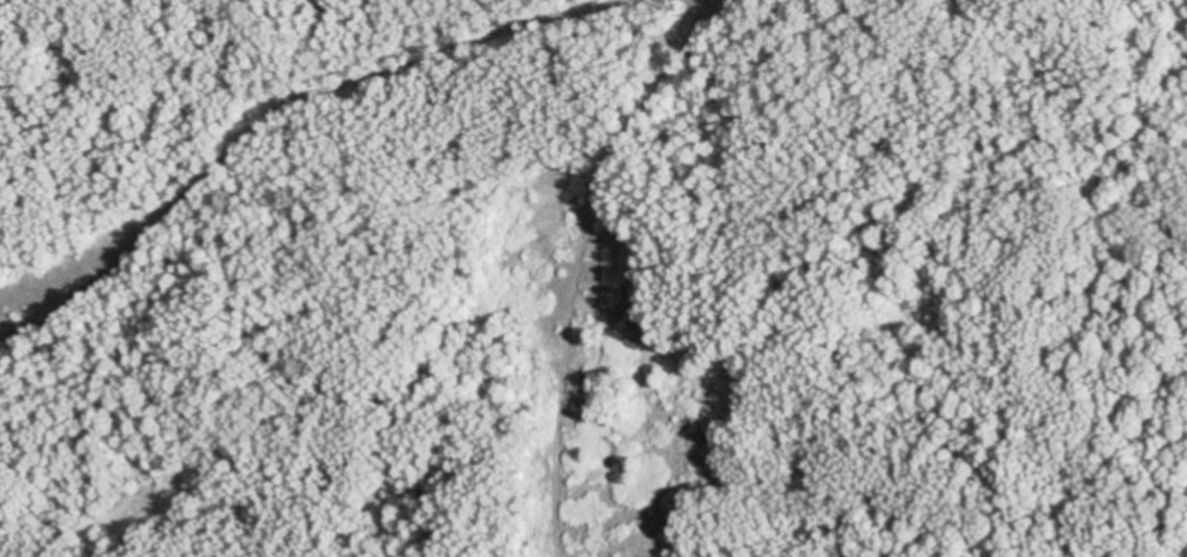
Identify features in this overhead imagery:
road: (275, 126)

